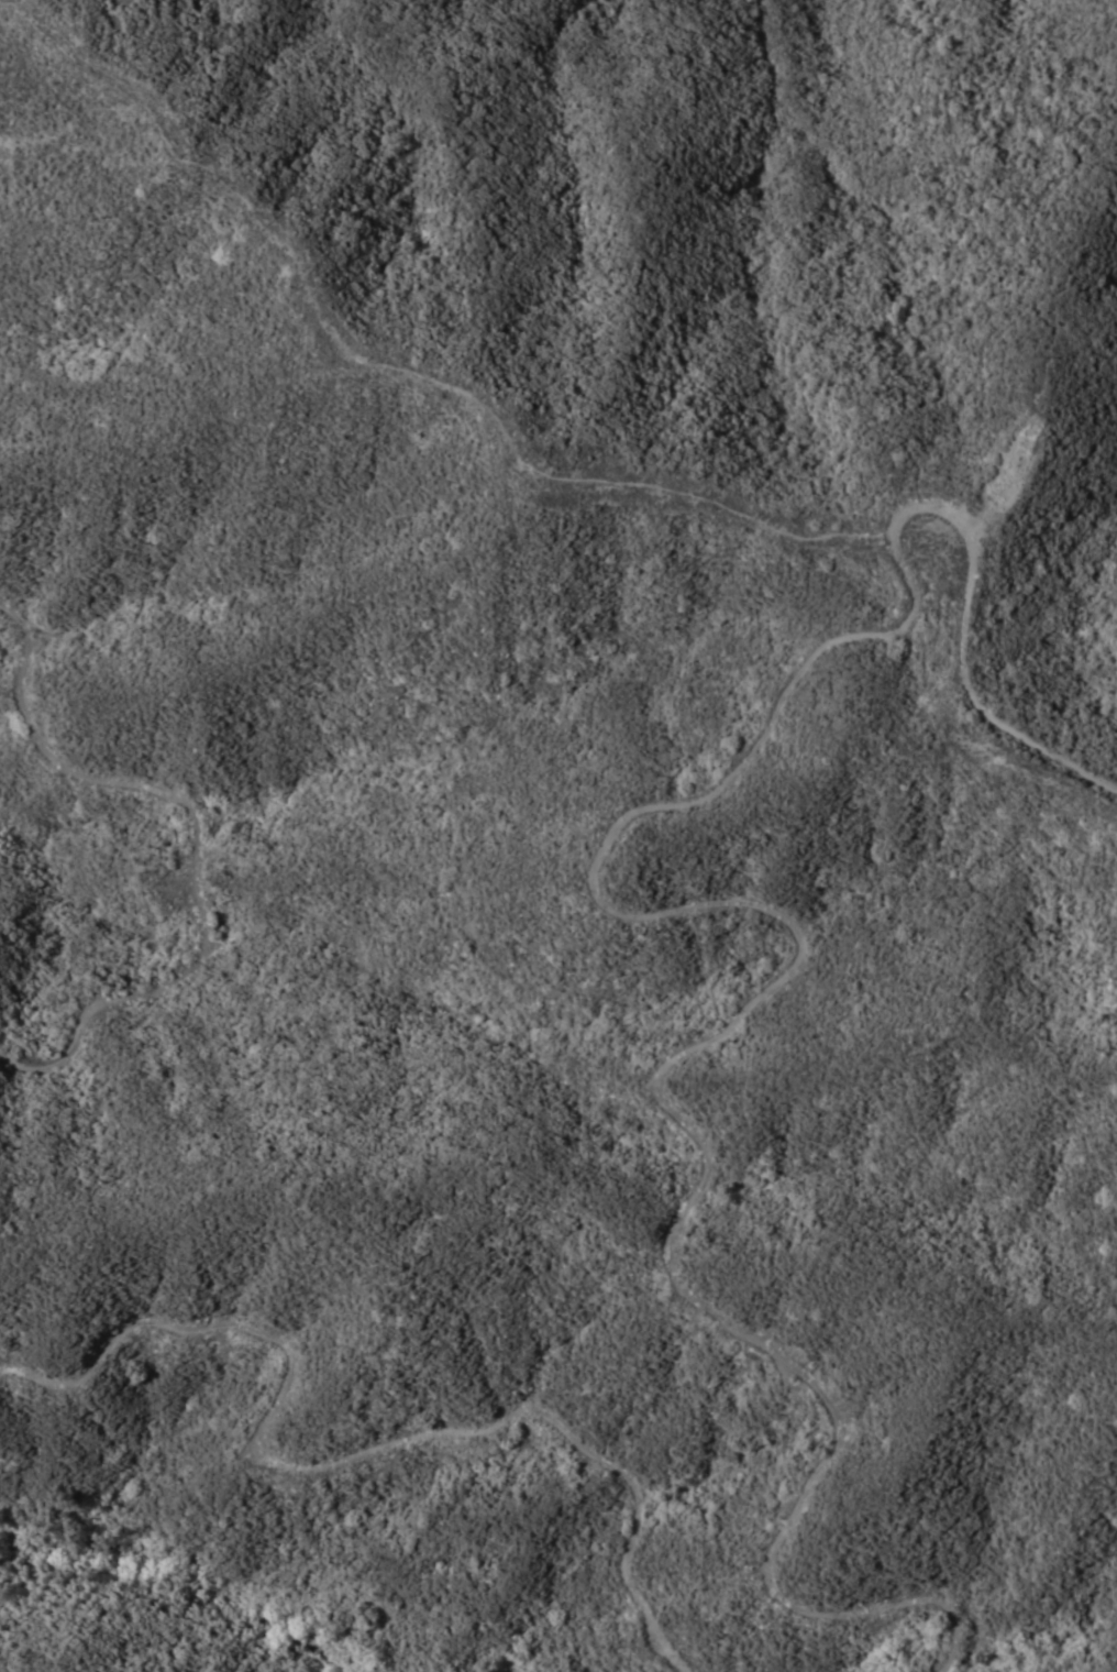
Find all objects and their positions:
road: (390, 367)
road: (1007, 766)
road: (193, 844)
road: (752, 904)
road: (354, 1453)

